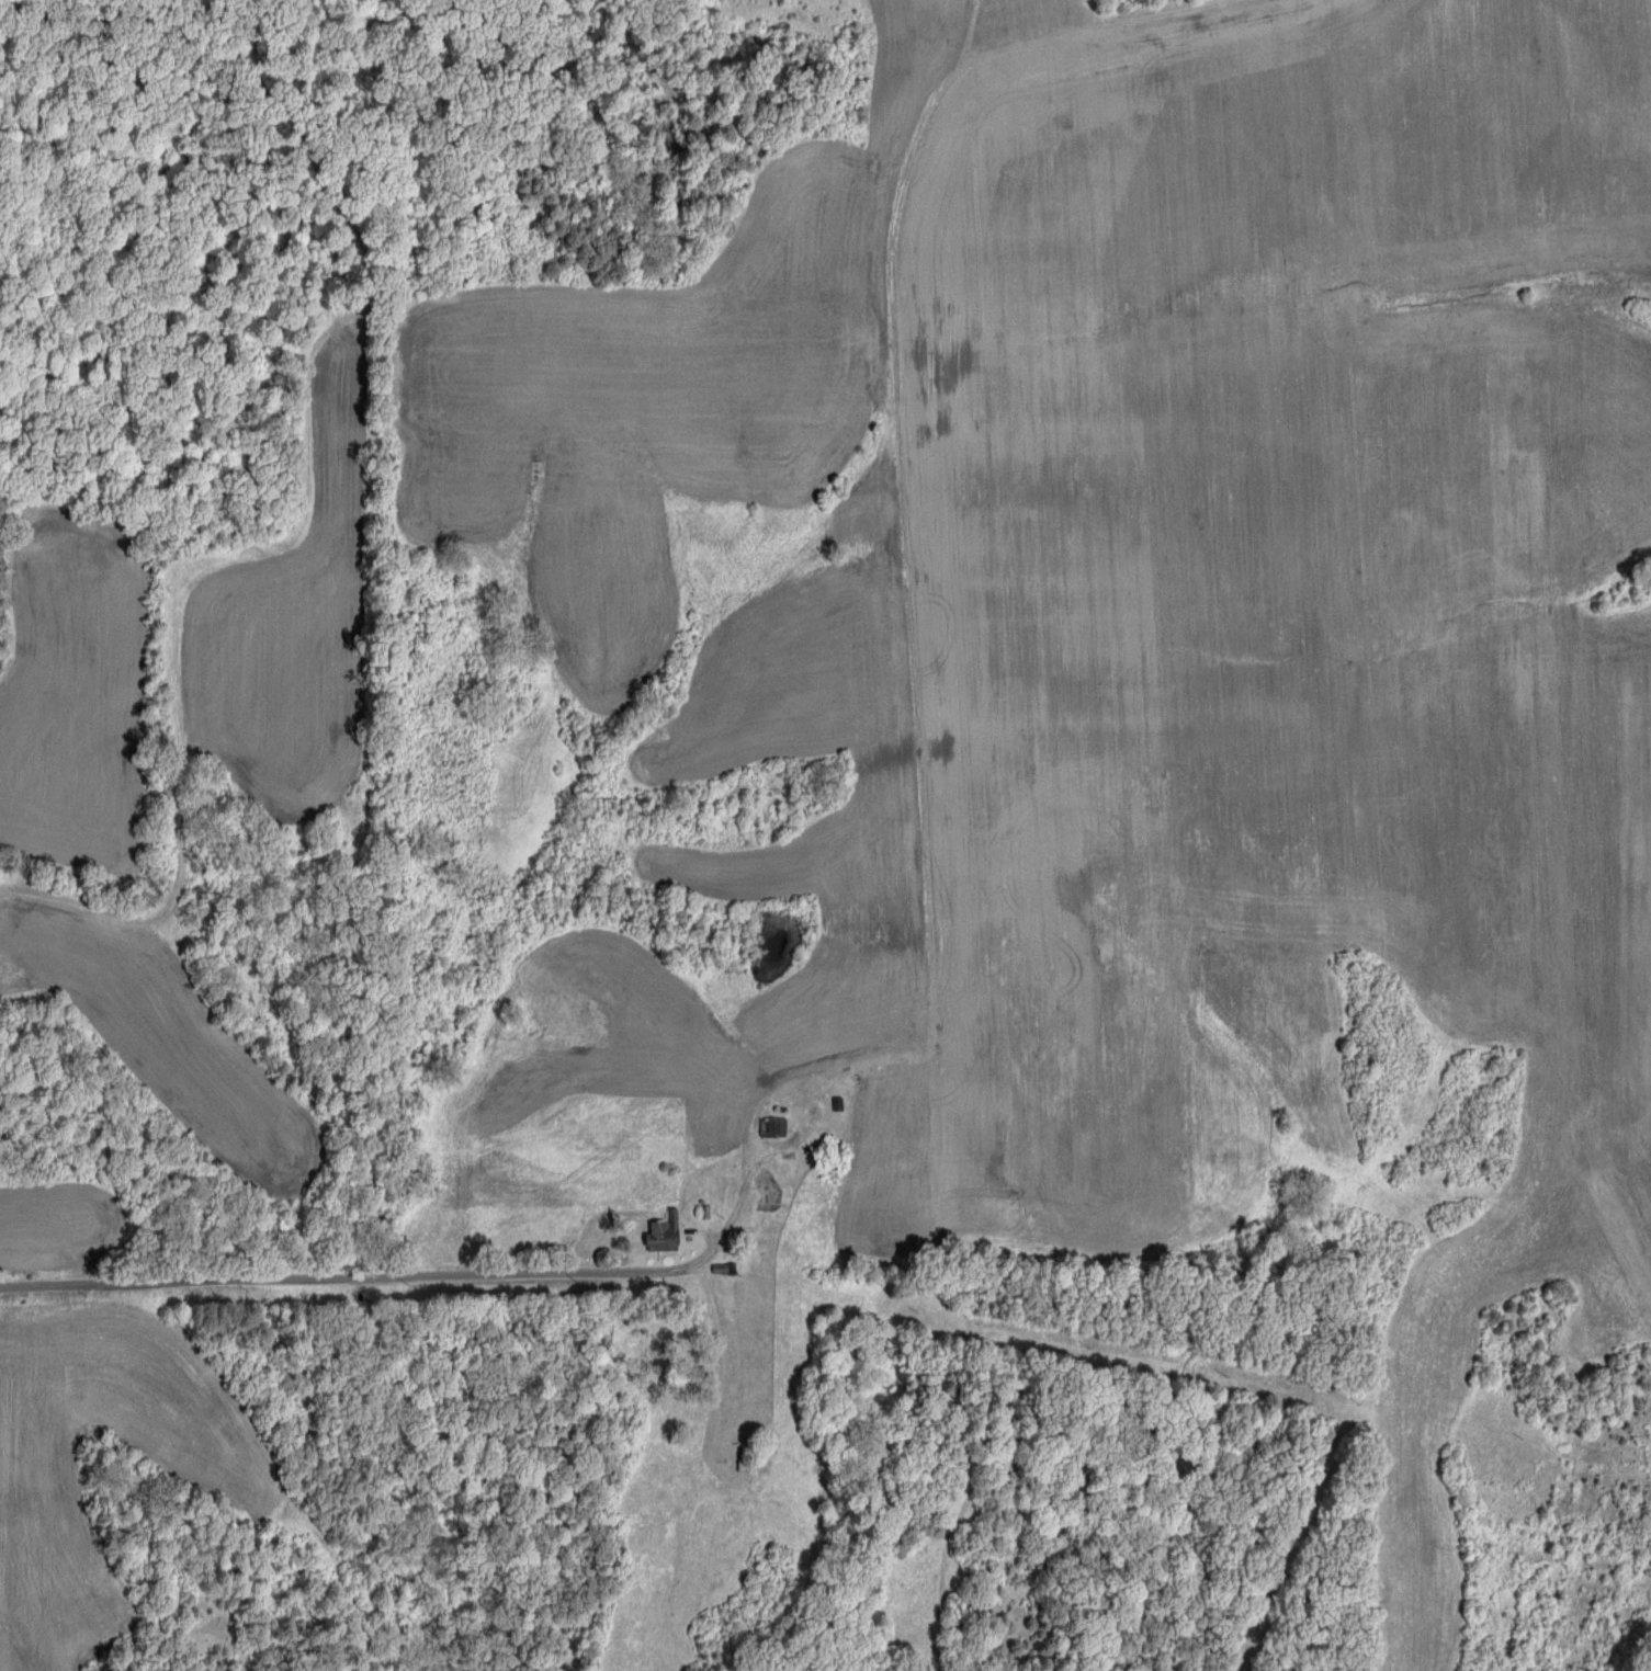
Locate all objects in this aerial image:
building: (663, 1232)
road: (336, 1282)

